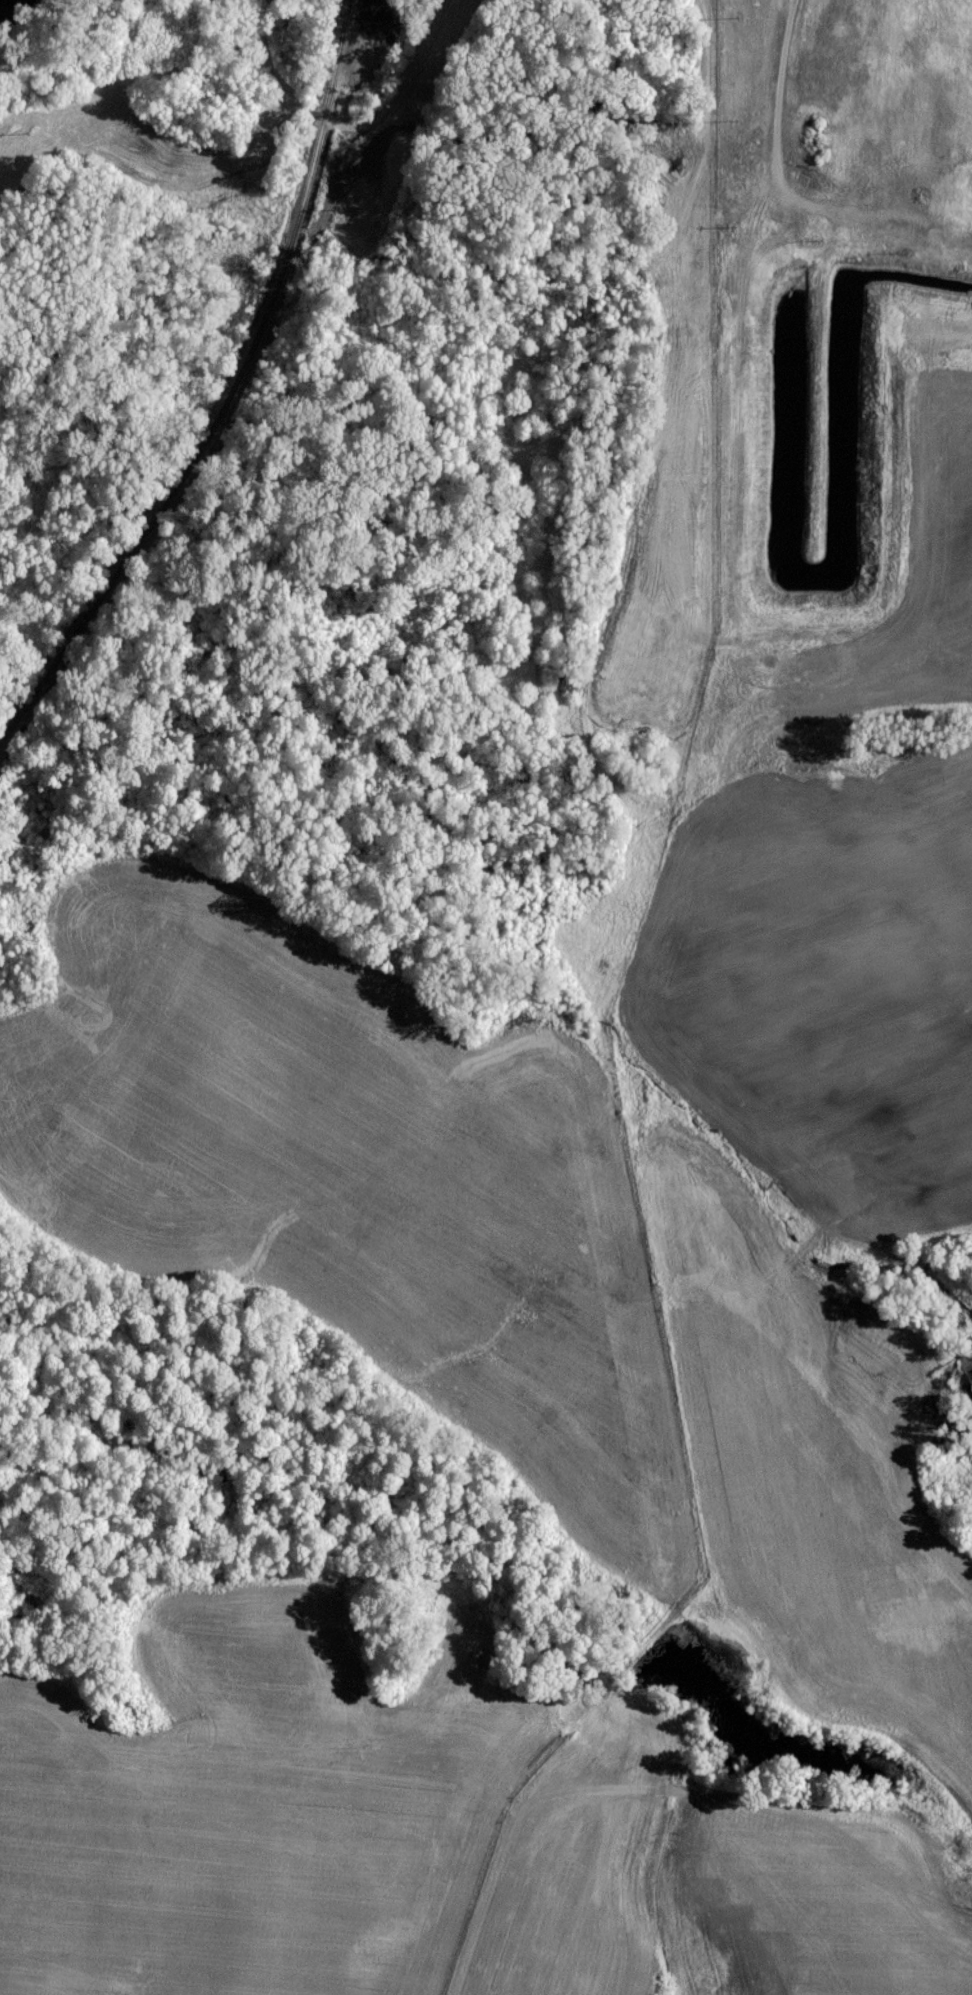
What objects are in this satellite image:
road: (408, 65)
building: (258, 84)
road: (295, 102)
railway: (221, 405)

